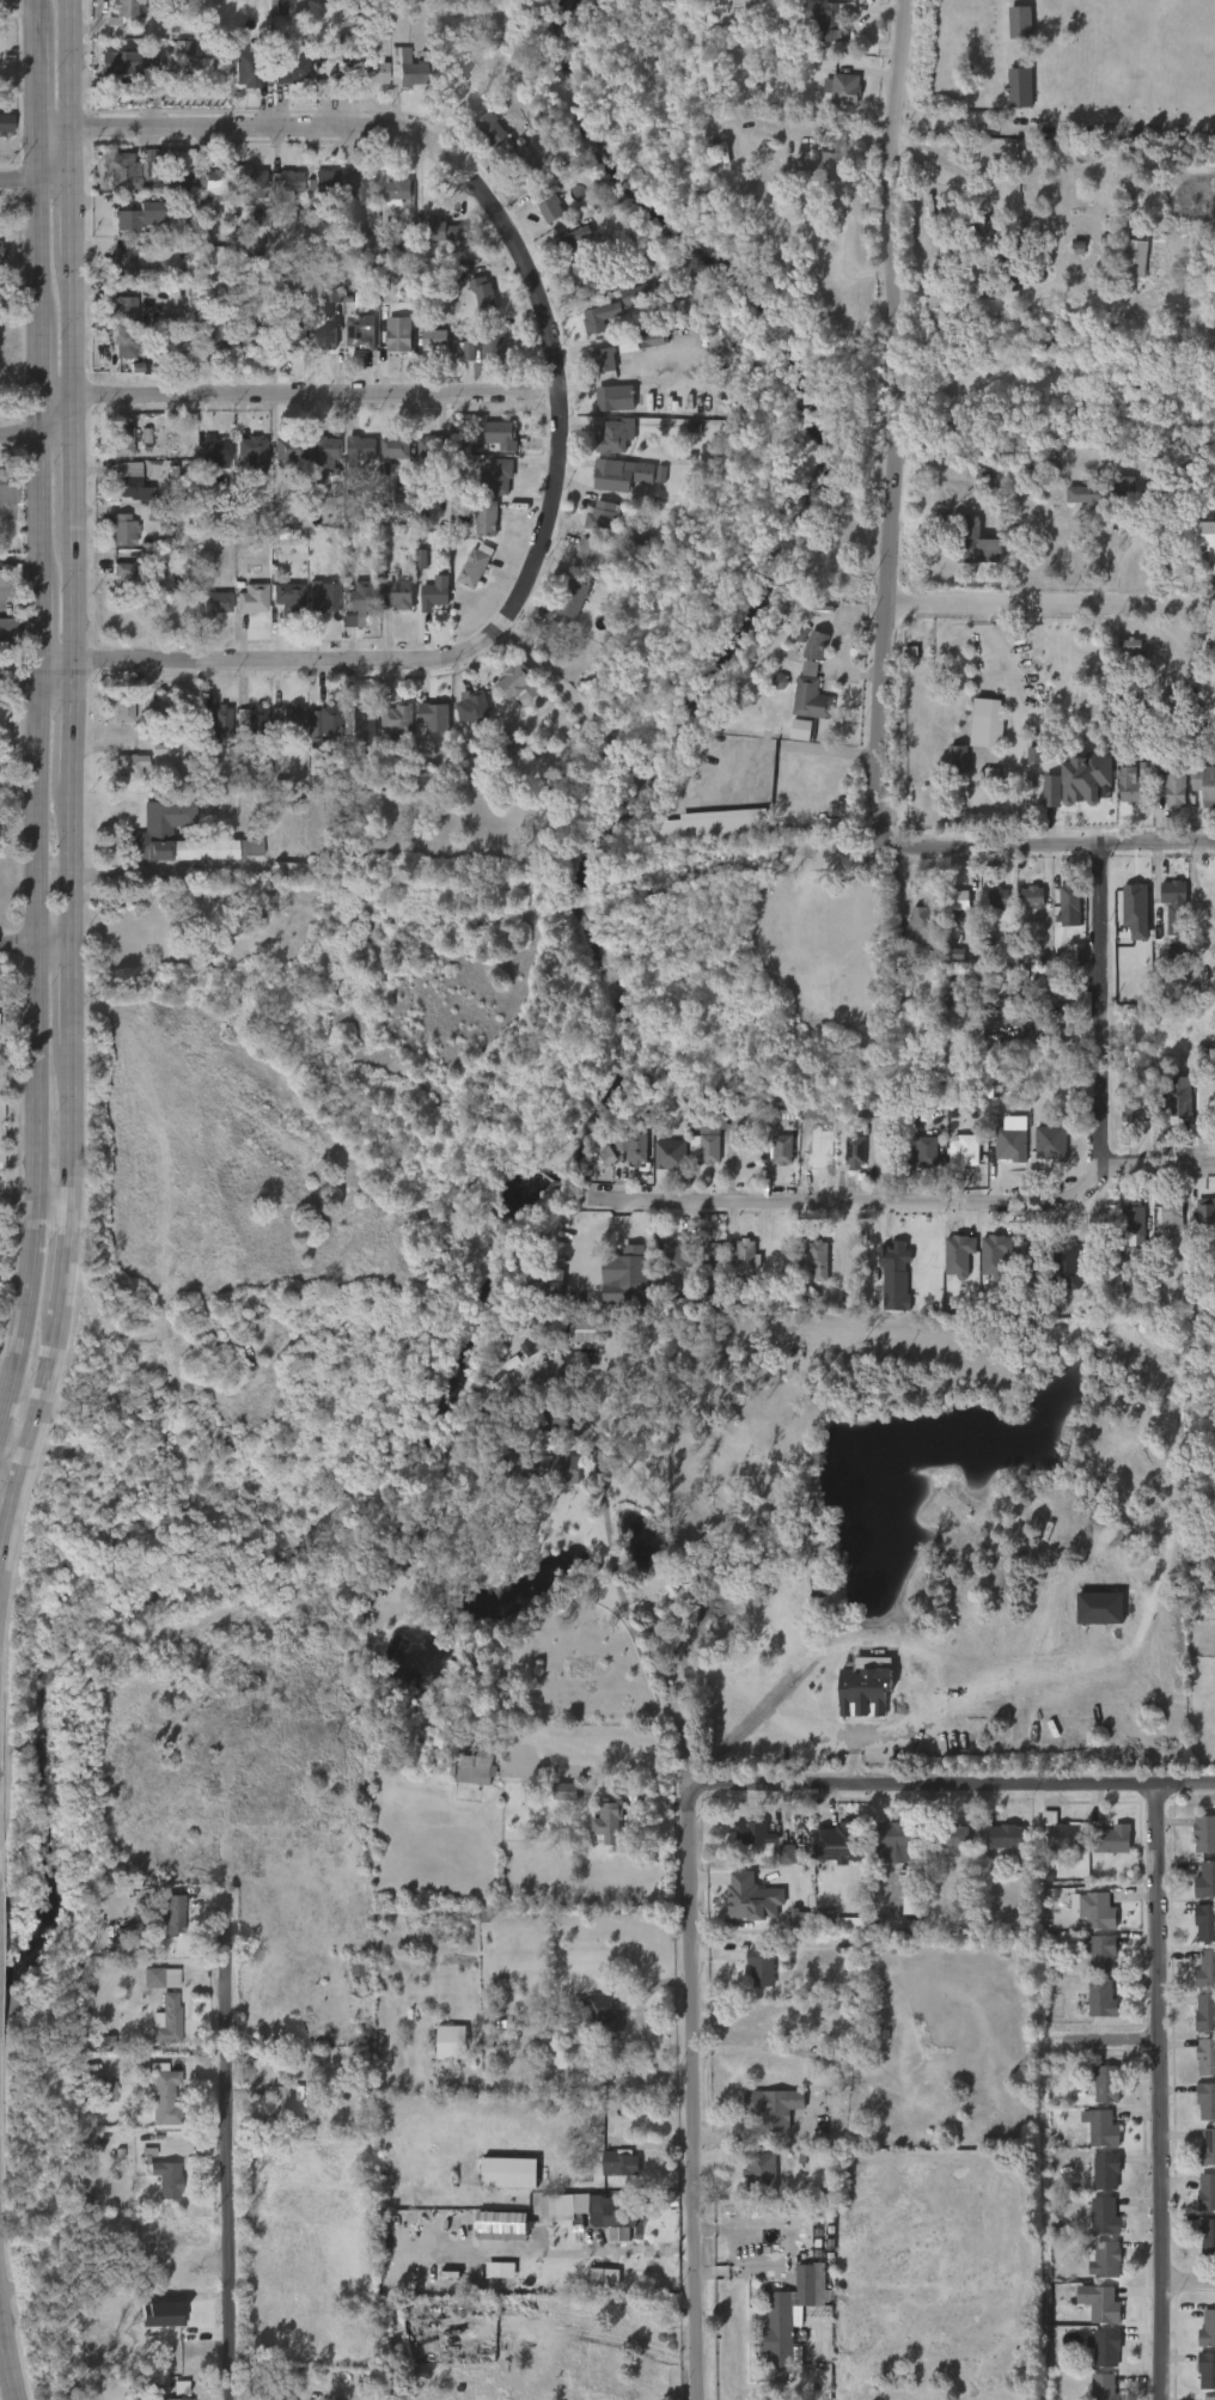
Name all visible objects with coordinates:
building: (337, 1)
building: (129, 11)
building: (828, 18)
building: (1020, 23)
building: (188, 48)
building: (127, 61)
building: (334, 63)
building: (248, 65)
building: (292, 69)
building: (411, 72)
building: (373, 73)
building: (844, 87)
building: (1020, 87)
building: (4, 122)
road: (385, 126)
road: (1056, 127)
building: (489, 128)
building: (828, 156)
building: (147, 164)
building: (523, 164)
building: (122, 171)
road: (941, 175)
road: (32, 177)
building: (326, 182)
building: (188, 183)
building: (287, 183)
building: (214, 184)
building: (254, 184)
building: (364, 187)
building: (398, 191)
building: (549, 202)
building: (149, 217)
building: (258, 217)
building: (317, 219)
building: (444, 231)
building: (1013, 238)
building: (574, 243)
building: (395, 248)
building: (1, 252)
building: (213, 252)
building: (1134, 258)
building: (126, 262)
building: (1016, 272)
building: (586, 278)
building: (637, 294)
building: (332, 296)
building: (484, 296)
building: (121, 303)
building: (596, 312)
building: (216, 329)
building: (361, 334)
building: (399, 335)
building: (252, 336)
building: (323, 336)
building: (288, 337)
building: (436, 339)
building: (652, 340)
building: (628, 343)
building: (128, 345)
building: (486, 347)
building: (603, 359)
road: (301, 396)
building: (617, 398)
road: (898, 410)
road: (36, 435)
building: (501, 435)
building: (613, 437)
building: (123, 440)
building: (288, 447)
building: (397, 447)
building: (215, 449)
building: (324, 449)
building: (432, 449)
building: (361, 450)
building: (251, 451)
building: (619, 474)
building: (501, 475)
building: (984, 477)
building: (129, 479)
building: (1123, 486)
building: (6, 487)
building: (1089, 494)
building: (402, 499)
road: (1118, 513)
building: (155, 514)
building: (602, 517)
building: (488, 518)
building: (122, 529)
building: (1208, 535)
building: (969, 538)
building: (641, 541)
building: (592, 555)
building: (1214, 556)
building: (421, 560)
building: (476, 566)
building: (1, 577)
building: (134, 577)
building: (399, 593)
building: (435, 593)
building: (361, 595)
building: (288, 596)
building: (324, 596)
building: (255, 598)
building: (570, 598)
building: (216, 602)
road: (1052, 609)
building: (7, 631)
building: (549, 639)
building: (816, 645)
building: (1136, 650)
road: (397, 660)
building: (512, 681)
building: (780, 682)
road: (1008, 682)
road: (33, 687)
building: (814, 699)
building: (147, 702)
road: (35, 707)
building: (124, 707)
building: (472, 707)
building: (435, 715)
building: (399, 717)
building: (254, 719)
building: (293, 719)
building: (362, 720)
building: (218, 723)
building: (324, 725)
building: (739, 725)
building: (800, 730)
building: (984, 730)
road: (786, 748)
building: (1034, 755)
building: (961, 759)
building: (130, 765)
building: (1144, 770)
building: (991, 775)
building: (1085, 778)
building: (248, 779)
building: (1204, 785)
road: (68, 786)
building: (1176, 788)
building: (1130, 790)
building: (1051, 791)
building: (716, 827)
building: (149, 835)
road: (1044, 846)
road: (134, 869)
building: (288, 870)
building: (1176, 891)
road: (138, 896)
building: (1033, 896)
building: (999, 899)
building: (1070, 899)
building: (960, 903)
building: (1136, 910)
building: (240, 914)
building: (922, 926)
road: (33, 943)
building: (957, 956)
building: (961, 980)
building: (1046, 986)
building: (1014, 1044)
building: (1204, 1062)
road: (1099, 1071)
building: (1180, 1100)
building: (1131, 1111)
building: (710, 1138)
building: (1011, 1144)
building: (1050, 1144)
building: (631, 1145)
building: (964, 1149)
building: (783, 1150)
building: (855, 1150)
building: (921, 1150)
building: (670, 1156)
building: (607, 1157)
road: (1161, 1164)
road: (33, 1200)
road: (859, 1201)
building: (1136, 1214)
building: (1207, 1218)
building: (1174, 1220)
building: (716, 1249)
building: (671, 1253)
building: (744, 1253)
building: (814, 1256)
building: (893, 1256)
building: (1033, 1256)
building: (1067, 1266)
building: (634, 1269)
building: (548, 1274)
building: (692, 1304)
building: (567, 1330)
building: (503, 1427)
road: (588, 1434)
road: (11, 1462)
building: (541, 1467)
building: (415, 1541)
building: (398, 1563)
building: (1099, 1608)
road: (642, 1626)
building: (862, 1692)
road: (995, 1719)
building: (474, 1766)
road: (950, 1784)
building: (566, 1792)
building: (610, 1820)
building: (758, 1834)
building: (1204, 1834)
building: (900, 1835)
building: (954, 1835)
building: (1064, 1835)
building: (1002, 1838)
building: (1115, 1839)
building: (843, 1841)
building: (792, 1853)
building: (1204, 1881)
building: (751, 1899)
building: (910, 1906)
building: (1095, 1911)
building: (173, 1915)
building: (802, 1921)
building: (1204, 1923)
building: (851, 1924)
building: (1100, 1953)
building: (759, 1967)
building: (359, 1968)
building: (1205, 1970)
building: (160, 1978)
building: (1101, 2000)
building: (597, 2014)
building: (1205, 2014)
road: (635, 2015)
building: (167, 2020)
building: (453, 2043)
building: (831, 2053)
road: (1095, 2054)
building: (1205, 2058)
road: (576, 2077)
building: (1106, 2084)
building: (105, 2091)
road: (1147, 2091)
road: (689, 2093)
building: (165, 2094)
building: (1205, 2101)
building: (282, 2104)
building: (775, 2107)
building: (1103, 2128)
road: (767, 2138)
building: (1207, 2150)
road: (234, 2152)
building: (618, 2162)
building: (1104, 2169)
building: (507, 2171)
building: (761, 2173)
building: (163, 2175)
building: (1207, 2193)
building: (558, 2207)
building: (610, 2211)
building: (1104, 2215)
building: (500, 2224)
building: (1207, 2237)
road: (790, 2247)
building: (1104, 2259)
building: (500, 2270)
building: (602, 2277)
building: (804, 2284)
road: (1, 2292)
road: (1184, 2298)
building: (1106, 2304)
building: (163, 2314)
road: (6, 2328)
building: (779, 2329)
building: (1207, 2329)
road: (613, 2340)
building: (1107, 2345)
building: (1207, 2369)
building: (1106, 2387)
building: (181, 2390)
building: (128, 2398)
building: (1209, 2398)

